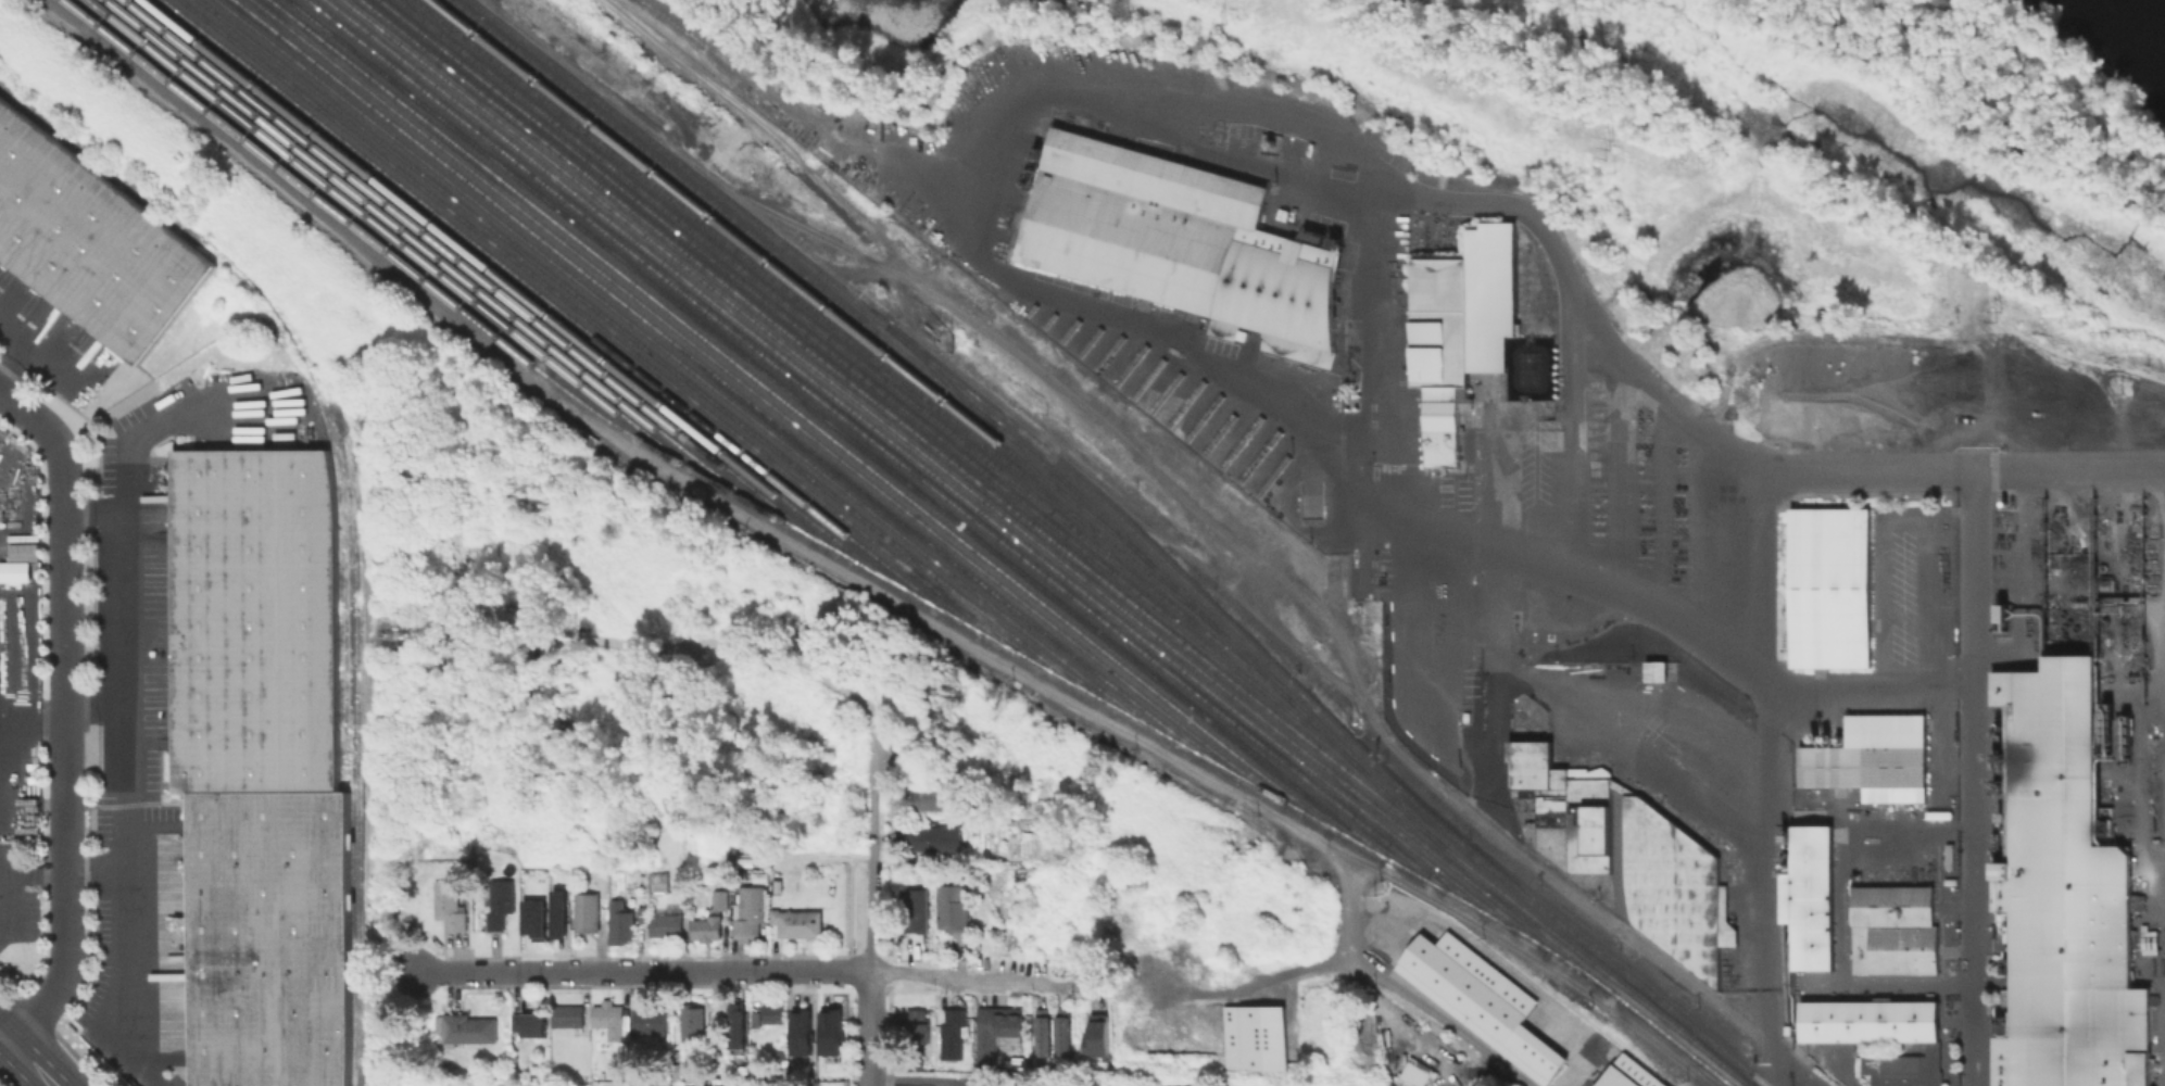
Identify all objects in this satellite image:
railway: (100, 166)
railway: (400, 241)
building: (89, 242)
building: (1182, 243)
road: (986, 256)
railway: (443, 262)
railway: (484, 279)
railway: (791, 281)
railway: (527, 298)
railway: (568, 315)
railway: (818, 315)
building: (1453, 332)
railway: (609, 334)
road: (7, 346)
railway: (844, 350)
railway: (653, 354)
railway: (692, 371)
railway: (939, 374)
railway: (871, 384)
railway: (732, 389)
railway: (773, 406)
railway: (901, 421)
railway: (813, 422)
railway: (853, 440)
railway: (896, 458)
road: (1841, 471)
railway: (933, 475)
railway: (351, 506)
railway: (1113, 527)
railway: (1131, 528)
railway: (806, 532)
railway: (1036, 543)
building: (26, 550)
building: (14, 571)
building: (1828, 585)
railway: (344, 601)
road: (1656, 609)
railway: (2164, 660)
building: (1653, 669)
road: (1358, 679)
railway: (2157, 679)
road: (1868, 682)
road: (63, 715)
road: (1586, 717)
road: (30, 720)
building: (1871, 757)
building: (260, 760)
road: (1763, 761)
road: (123, 772)
road: (1973, 779)
building: (932, 797)
building: (1565, 806)
road: (95, 807)
road: (869, 811)
building: (931, 836)
railway: (2148, 836)
road: (831, 857)
road: (96, 872)
road: (12, 876)
building: (656, 876)
building: (1673, 886)
building: (2063, 894)
building: (1808, 895)
road: (1576, 898)
building: (499, 900)
building: (452, 904)
building: (954, 907)
building: (916, 908)
building: (589, 911)
building: (643, 912)
building: (751, 912)
road: (1351, 912)
building: (557, 913)
building: (713, 917)
building: (532, 918)
building: (665, 921)
building: (798, 922)
building: (622, 925)
building: (1891, 927)
road: (880, 959)
road: (641, 971)
road: (994, 973)
road: (870, 976)
road: (989, 980)
road: (1256, 983)
road: (883, 987)
road: (989, 987)
road: (865, 988)
road: (1096, 993)
road: (1087, 1005)
building: (1486, 1005)
parking lot: (1095, 1006)
road: (1096, 1006)
building: (773, 1012)
building: (568, 1015)
road: (1083, 1018)
building: (609, 1019)
building: (649, 1019)
building: (756, 1019)
road: (1442, 1020)
building: (693, 1022)
building: (739, 1023)
building: (918, 1023)
building: (534, 1024)
road: (1082, 1027)
building: (464, 1028)
building: (996, 1030)
road: (1081, 1030)
building: (800, 1031)
building: (829, 1031)
building: (1065, 1031)
building: (1043, 1032)
building: (1094, 1033)
building: (954, 1034)
building: (1877, 1034)
road: (885, 1035)
road: (3, 1037)
building: (1251, 1037)
road: (1078, 1039)
building: (1591, 1053)
road: (1085, 1055)
road: (1088, 1056)
road: (29, 1063)
road: (1109, 1064)
road: (1770, 1069)
road: (1791, 1069)
building: (620, 1071)
building: (678, 1071)
building: (1093, 1074)
building: (1631, 1074)
building: (973, 1085)

